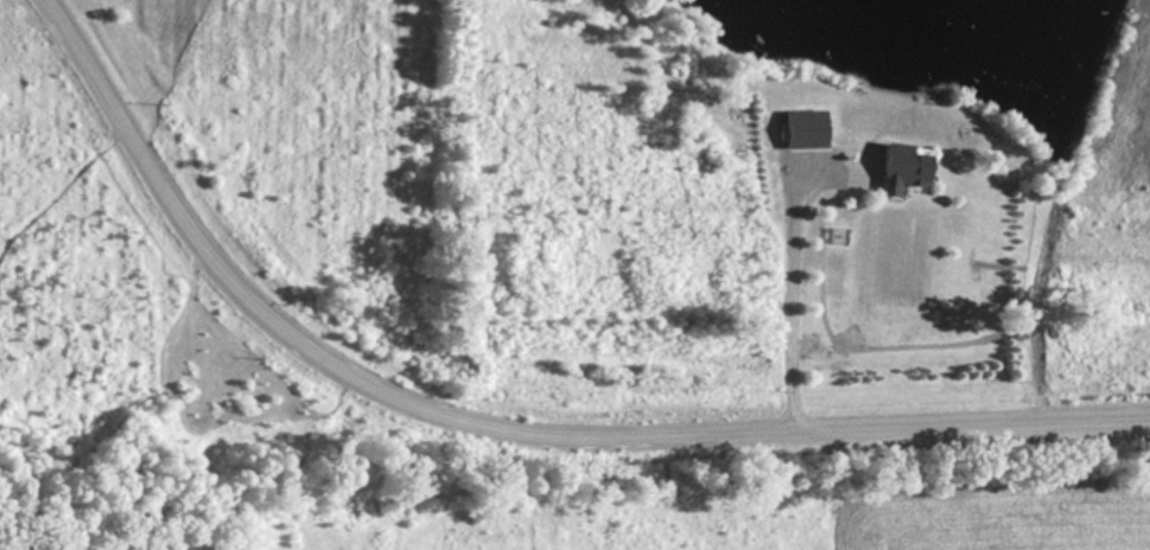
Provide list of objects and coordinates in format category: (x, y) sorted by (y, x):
building: (802, 130)
building: (901, 168)

